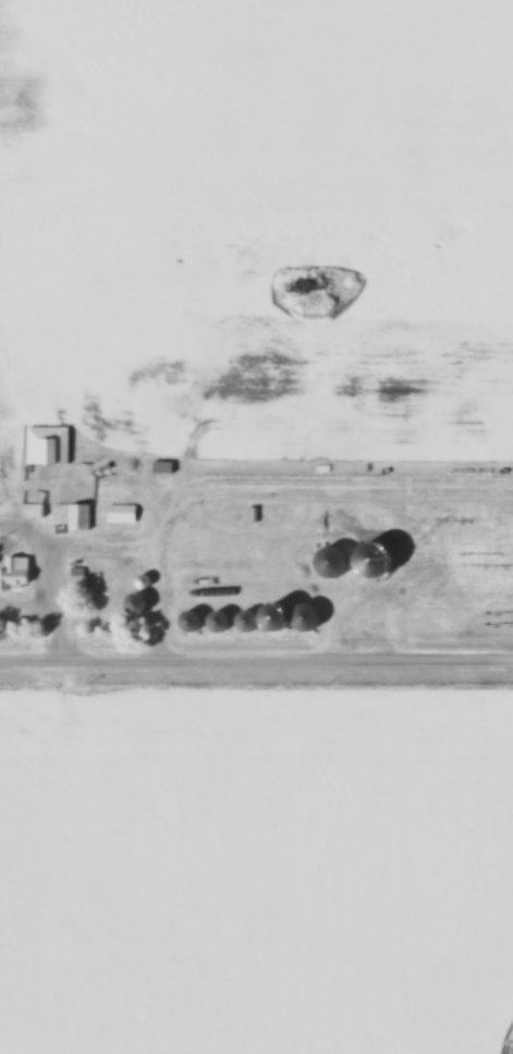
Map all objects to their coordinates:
building: (320, 268)
building: (175, 358)
building: (47, 444)
road: (261, 478)
building: (120, 513)
building: (78, 516)
road: (35, 559)
building: (327, 561)
building: (14, 573)
building: (372, 573)
building: (75, 578)
road: (49, 614)
building: (300, 616)
road: (256, 660)

